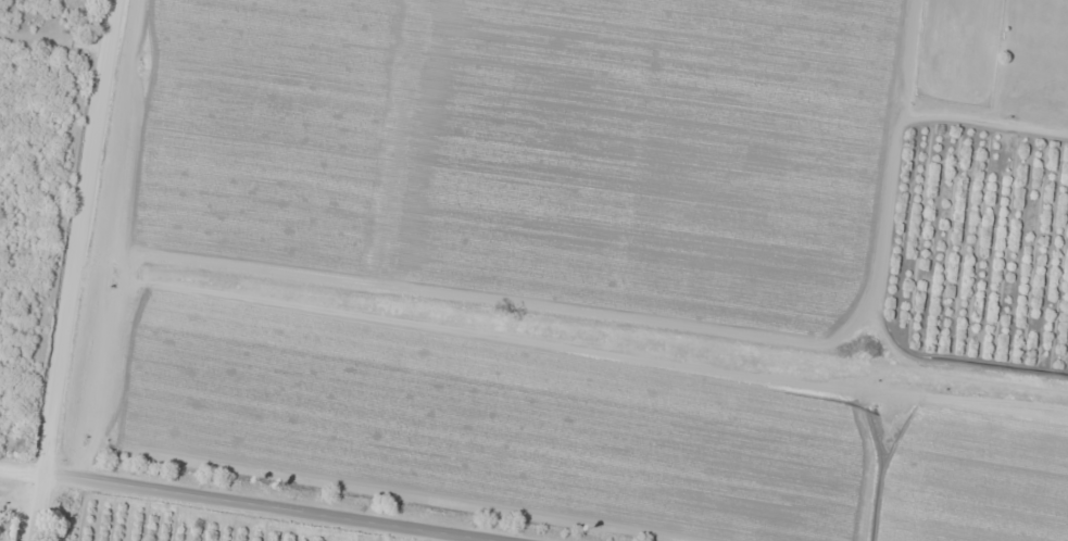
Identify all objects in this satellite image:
road: (67, 269)
road: (231, 506)

